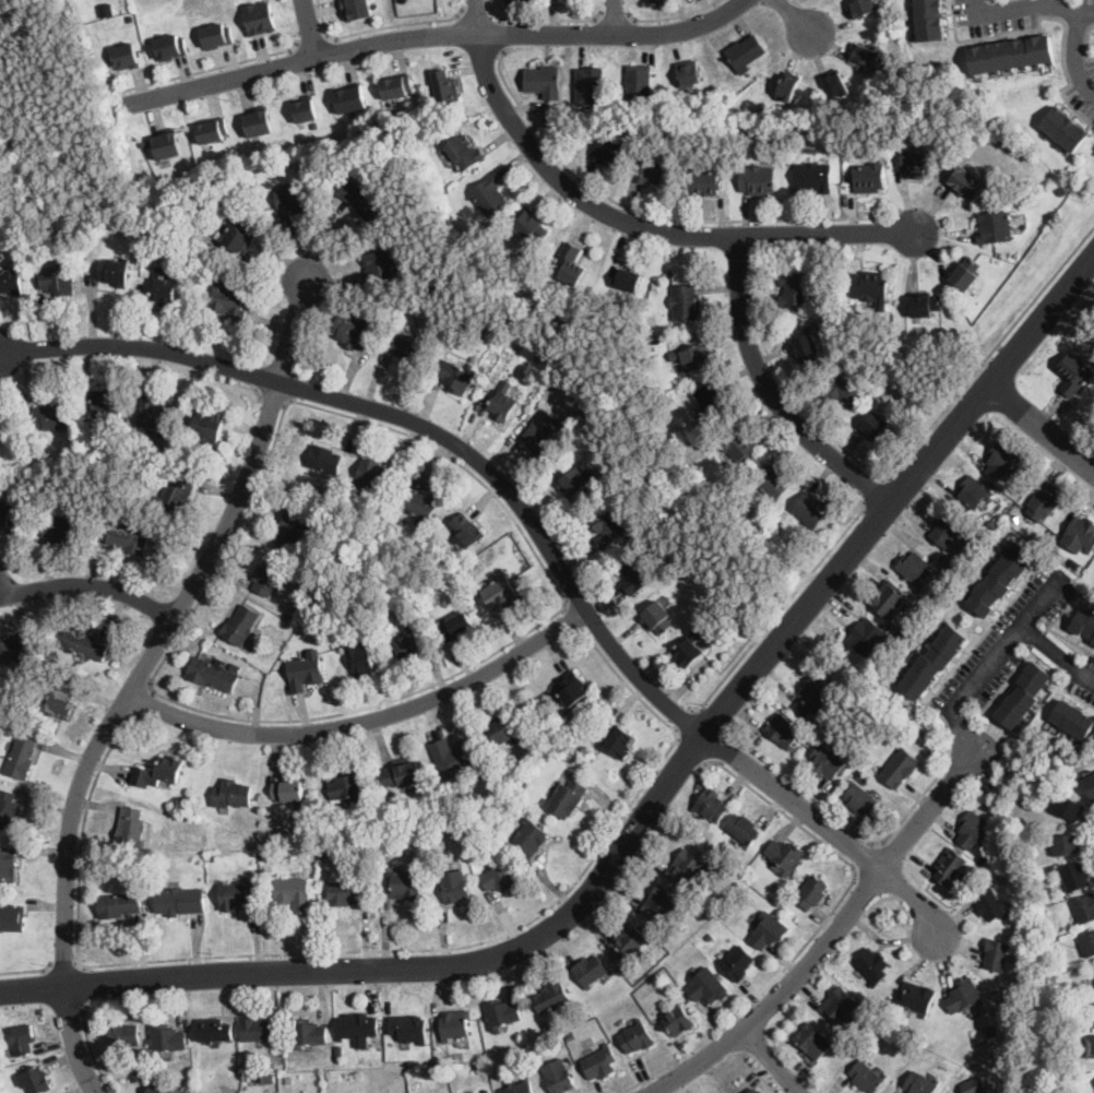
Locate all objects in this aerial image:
building: (519, 1)
building: (657, 1)
building: (122, 3)
road: (1032, 7)
building: (863, 8)
building: (356, 9)
road: (477, 15)
road: (669, 15)
road: (616, 16)
building: (130, 17)
road: (547, 17)
building: (259, 19)
road: (615, 19)
road: (797, 20)
building: (928, 20)
road: (379, 26)
road: (309, 28)
road: (500, 34)
road: (436, 35)
building: (215, 36)
road: (310, 37)
building: (170, 47)
building: (746, 52)
building: (866, 55)
building: (1011, 55)
road: (1079, 55)
building: (127, 56)
building: (861, 66)
road: (209, 68)
building: (689, 74)
building: (544, 81)
building: (639, 81)
building: (837, 84)
building: (396, 85)
building: (590, 86)
building: (788, 86)
building: (444, 87)
building: (350, 97)
building: (650, 105)
building: (305, 109)
building: (258, 121)
building: (317, 123)
building: (1065, 128)
building: (430, 129)
building: (211, 130)
building: (1004, 136)
building: (796, 138)
building: (167, 144)
building: (610, 148)
building: (465, 152)
building: (917, 164)
building: (652, 170)
building: (813, 177)
building: (868, 177)
building: (1007, 178)
building: (757, 179)
building: (703, 181)
building: (965, 181)
building: (1061, 190)
building: (490, 195)
building: (294, 198)
building: (361, 199)
road: (651, 214)
road: (629, 224)
building: (532, 225)
building: (995, 226)
building: (59, 227)
building: (467, 234)
road: (754, 235)
building: (239, 237)
building: (570, 263)
building: (381, 264)
building: (114, 272)
building: (966, 273)
building: (628, 278)
building: (57, 281)
building: (11, 282)
building: (870, 287)
building: (163, 288)
building: (794, 289)
building: (685, 302)
building: (228, 304)
building: (925, 305)
building: (647, 328)
building: (352, 332)
building: (943, 341)
building: (411, 348)
building: (513, 348)
building: (805, 348)
road: (989, 352)
building: (552, 353)
building: (691, 357)
road: (146, 359)
building: (1073, 373)
building: (455, 375)
building: (897, 377)
road: (781, 383)
building: (845, 388)
road: (771, 393)
road: (273, 395)
building: (712, 399)
building: (502, 402)
building: (102, 403)
building: (652, 406)
building: (50, 415)
building: (155, 416)
road: (417, 424)
building: (207, 426)
building: (4, 427)
building: (876, 427)
road: (1039, 428)
building: (542, 439)
building: (738, 443)
building: (324, 459)
building: (1001, 461)
building: (686, 473)
building: (373, 475)
building: (772, 482)
building: (573, 483)
building: (652, 487)
road: (872, 491)
building: (976, 492)
building: (176, 495)
building: (1044, 501)
building: (421, 502)
road: (501, 503)
building: (810, 509)
building: (8, 514)
building: (1014, 516)
building: (608, 525)
building: (61, 527)
building: (292, 527)
building: (947, 530)
building: (466, 531)
building: (1082, 533)
building: (128, 539)
building: (972, 546)
building: (1074, 562)
building: (793, 568)
building: (913, 568)
building: (471, 572)
building: (638, 577)
building: (269, 579)
building: (1000, 579)
building: (401, 584)
road: (88, 585)
building: (329, 593)
building: (500, 595)
building: (311, 598)
building: (888, 598)
road: (1044, 598)
road: (778, 609)
building: (734, 616)
road: (569, 618)
building: (657, 619)
building: (1083, 622)
building: (240, 625)
building: (909, 625)
building: (455, 626)
road: (166, 628)
building: (867, 637)
building: (1093, 642)
building: (83, 643)
building: (408, 645)
building: (688, 649)
road: (1002, 649)
building: (15, 650)
building: (359, 657)
building: (932, 662)
building: (305, 670)
building: (214, 674)
road: (623, 680)
building: (573, 688)
building: (814, 696)
building: (1024, 696)
road: (139, 699)
building: (59, 702)
road: (366, 717)
road: (685, 720)
building: (1073, 720)
building: (503, 727)
building: (784, 730)
building: (579, 734)
building: (619, 744)
road: (692, 748)
building: (21, 757)
building: (455, 758)
building: (572, 759)
building: (825, 762)
building: (900, 768)
building: (157, 772)
building: (402, 773)
building: (860, 776)
building: (1089, 785)
building: (347, 786)
building: (519, 788)
building: (287, 791)
building: (233, 794)
road: (918, 797)
building: (566, 798)
building: (860, 800)
building: (711, 805)
building: (1068, 807)
building: (8, 809)
road: (647, 809)
building: (131, 828)
road: (829, 828)
building: (742, 829)
building: (973, 829)
building: (435, 835)
building: (531, 837)
building: (1066, 844)
building: (285, 852)
building: (316, 852)
building: (332, 854)
building: (212, 856)
building: (785, 856)
road: (865, 857)
building: (8, 865)
building: (162, 866)
building: (949, 866)
building: (687, 867)
building: (500, 876)
building: (1075, 876)
building: (404, 883)
building: (454, 886)
building: (777, 887)
building: (294, 892)
building: (811, 892)
building: (347, 893)
building: (236, 895)
building: (179, 901)
building: (661, 903)
building: (990, 904)
building: (119, 905)
building: (1084, 907)
building: (12, 917)
road: (816, 927)
building: (769, 930)
building: (709, 935)
road: (827, 940)
building: (629, 941)
building: (1087, 943)
building: (1053, 945)
road: (297, 951)
building: (997, 954)
road: (63, 960)
building: (737, 963)
building: (872, 966)
road: (25, 969)
building: (590, 970)
road: (81, 984)
building: (707, 986)
building: (550, 995)
building: (964, 996)
building: (916, 997)
building: (839, 1005)
building: (501, 1013)
building: (1093, 1014)
building: (679, 1020)
building: (454, 1024)
building: (356, 1025)
building: (260, 1029)
building: (409, 1029)
building: (991, 1030)
building: (214, 1031)
building: (307, 1033)
building: (122, 1035)
building: (570, 1035)
building: (637, 1036)
building: (23, 1037)
building: (166, 1039)
road: (72, 1041)
building: (813, 1042)
building: (1090, 1045)
building: (844, 1048)
road: (92, 1052)
building: (338, 1052)
building: (449, 1058)
building: (600, 1062)
road: (770, 1062)
building: (135, 1066)
building: (973, 1071)
building: (485, 1072)
building: (557, 1076)
building: (866, 1077)
building: (265, 1078)
building: (284, 1078)
building: (1093, 1079)
building: (36, 1080)
building: (920, 1084)
building: (971, 1085)
building: (520, 1086)
building: (157, 1089)
building: (487, 1090)
building: (754, 1091)
building: (762, 1092)
building: (1093, 1092)

